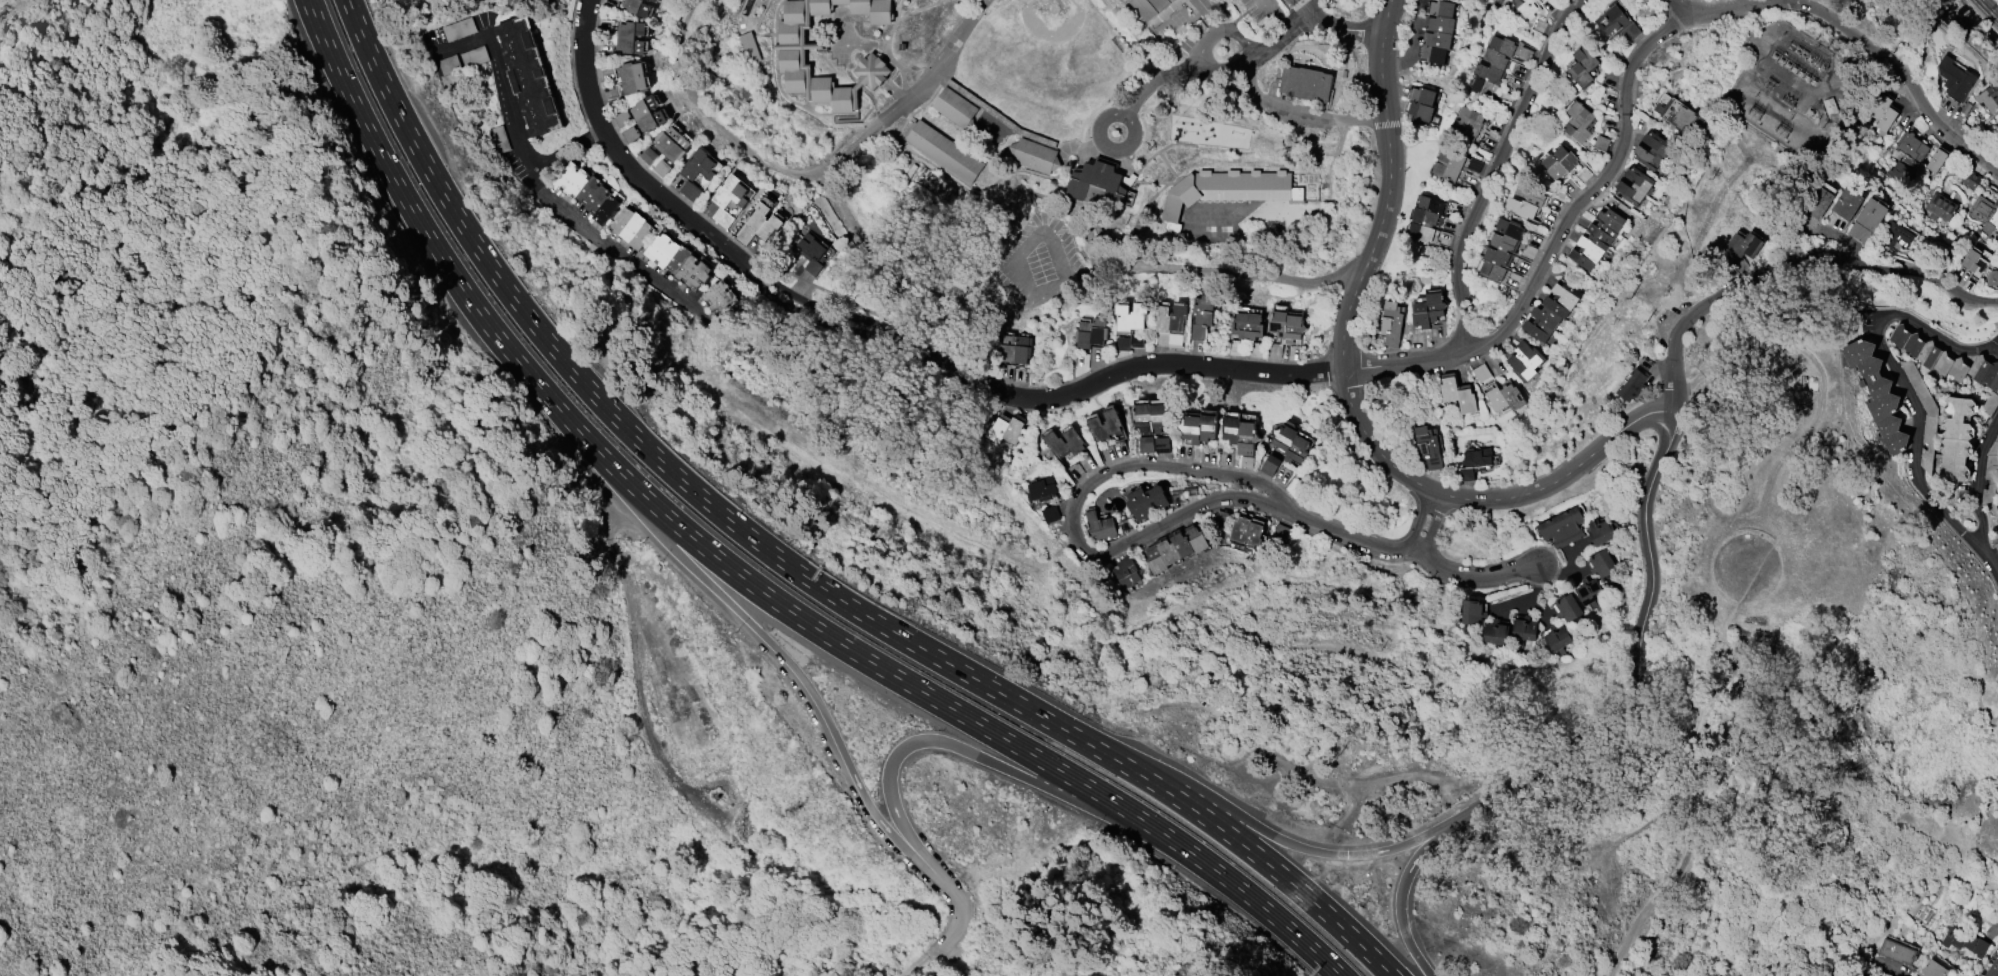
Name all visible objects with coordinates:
building: (653, 0)
building: (523, 3)
building: (1158, 3)
road: (1316, 6)
building: (636, 7)
building: (1207, 7)
building: (1527, 7)
road: (1680, 7)
road: (1733, 7)
road: (1990, 7)
building: (1143, 8)
road: (1277, 13)
road: (1299, 19)
building: (1617, 23)
road: (1335, 26)
building: (1439, 31)
building: (629, 36)
road: (1244, 36)
road: (1270, 41)
road: (1412, 43)
building: (748, 47)
building: (1525, 53)
building: (792, 56)
building: (1493, 66)
building: (1584, 66)
building: (528, 76)
building: (631, 76)
road: (1158, 76)
road: (1896, 77)
building: (1956, 78)
building: (1306, 83)
power substation: (1788, 91)
building: (1989, 96)
building: (1422, 103)
building: (1831, 105)
building: (643, 106)
building: (954, 107)
road: (1302, 112)
building: (1884, 112)
building: (1679, 113)
road: (509, 117)
road: (1099, 117)
building: (651, 120)
building: (1580, 122)
building: (1468, 125)
building: (630, 134)
building: (666, 138)
building: (498, 139)
building: (1602, 142)
building: (1913, 147)
building: (676, 148)
building: (1652, 150)
building: (943, 151)
building: (649, 155)
building: (1035, 155)
building: (1937, 160)
building: (1560, 162)
building: (1449, 165)
road: (1494, 166)
building: (662, 168)
building: (696, 172)
building: (1900, 172)
building: (572, 178)
building: (1971, 180)
building: (1098, 185)
building: (1635, 186)
building: (1227, 190)
road: (1598, 191)
building: (593, 193)
building: (731, 198)
building: (1527, 200)
building: (1817, 201)
building: (1848, 202)
building: (1941, 206)
building: (606, 210)
building: (1985, 213)
road: (413, 215)
building: (1426, 217)
building: (622, 219)
building: (1868, 219)
building: (760, 224)
building: (633, 226)
building: (642, 235)
building: (1895, 235)
road: (596, 238)
building: (1598, 238)
building: (1741, 247)
building: (1501, 248)
building: (662, 249)
building: (812, 252)
building: (679, 258)
building: (1970, 258)
road: (1793, 265)
building: (694, 271)
building: (1992, 277)
building: (720, 296)
road: (1027, 299)
building: (1428, 310)
building: (1553, 310)
building: (1131, 318)
building: (1205, 318)
building: (1174, 319)
building: (1248, 323)
building: (1392, 323)
building: (1287, 325)
building: (1091, 332)
road: (879, 339)
building: (1016, 349)
road: (1743, 351)
building: (1525, 360)
road: (1406, 361)
building: (1945, 361)
building: (1482, 372)
building: (1633, 384)
building: (1868, 391)
road: (1347, 393)
building: (1458, 395)
building: (1505, 397)
building: (1153, 415)
building: (1105, 427)
building: (1201, 427)
road: (577, 430)
building: (1005, 431)
building: (1242, 434)
building: (1957, 437)
building: (1291, 442)
road: (643, 444)
building: (1055, 444)
road: (1917, 445)
building: (1148, 446)
building: (1164, 447)
building: (1429, 447)
building: (1246, 461)
building: (1271, 464)
building: (1474, 464)
road: (1096, 481)
building: (1996, 482)
building: (1043, 491)
building: (1148, 501)
building: (1051, 513)
road: (1419, 519)
road: (1433, 523)
building: (1100, 525)
building: (1562, 527)
building: (1600, 530)
building: (1246, 531)
building: (1280, 532)
road: (1345, 533)
building: (1997, 542)
building: (1175, 549)
road: (1990, 559)
building: (1601, 562)
building: (1125, 571)
road: (1469, 575)
building: (1589, 590)
building: (1567, 607)
building: (1473, 611)
building: (1524, 628)
building: (1495, 632)
building: (1556, 637)
road: (634, 657)
road: (785, 658)
road: (883, 668)
road: (1637, 668)
road: (976, 755)
road: (1258, 828)
road: (1248, 849)
road: (1399, 900)
road: (1267, 910)
road: (957, 923)
road: (1996, 923)
building: (1962, 939)
building: (1895, 950)
road: (914, 965)
building: (1992, 968)
building: (1933, 969)
building: (1857, 975)

